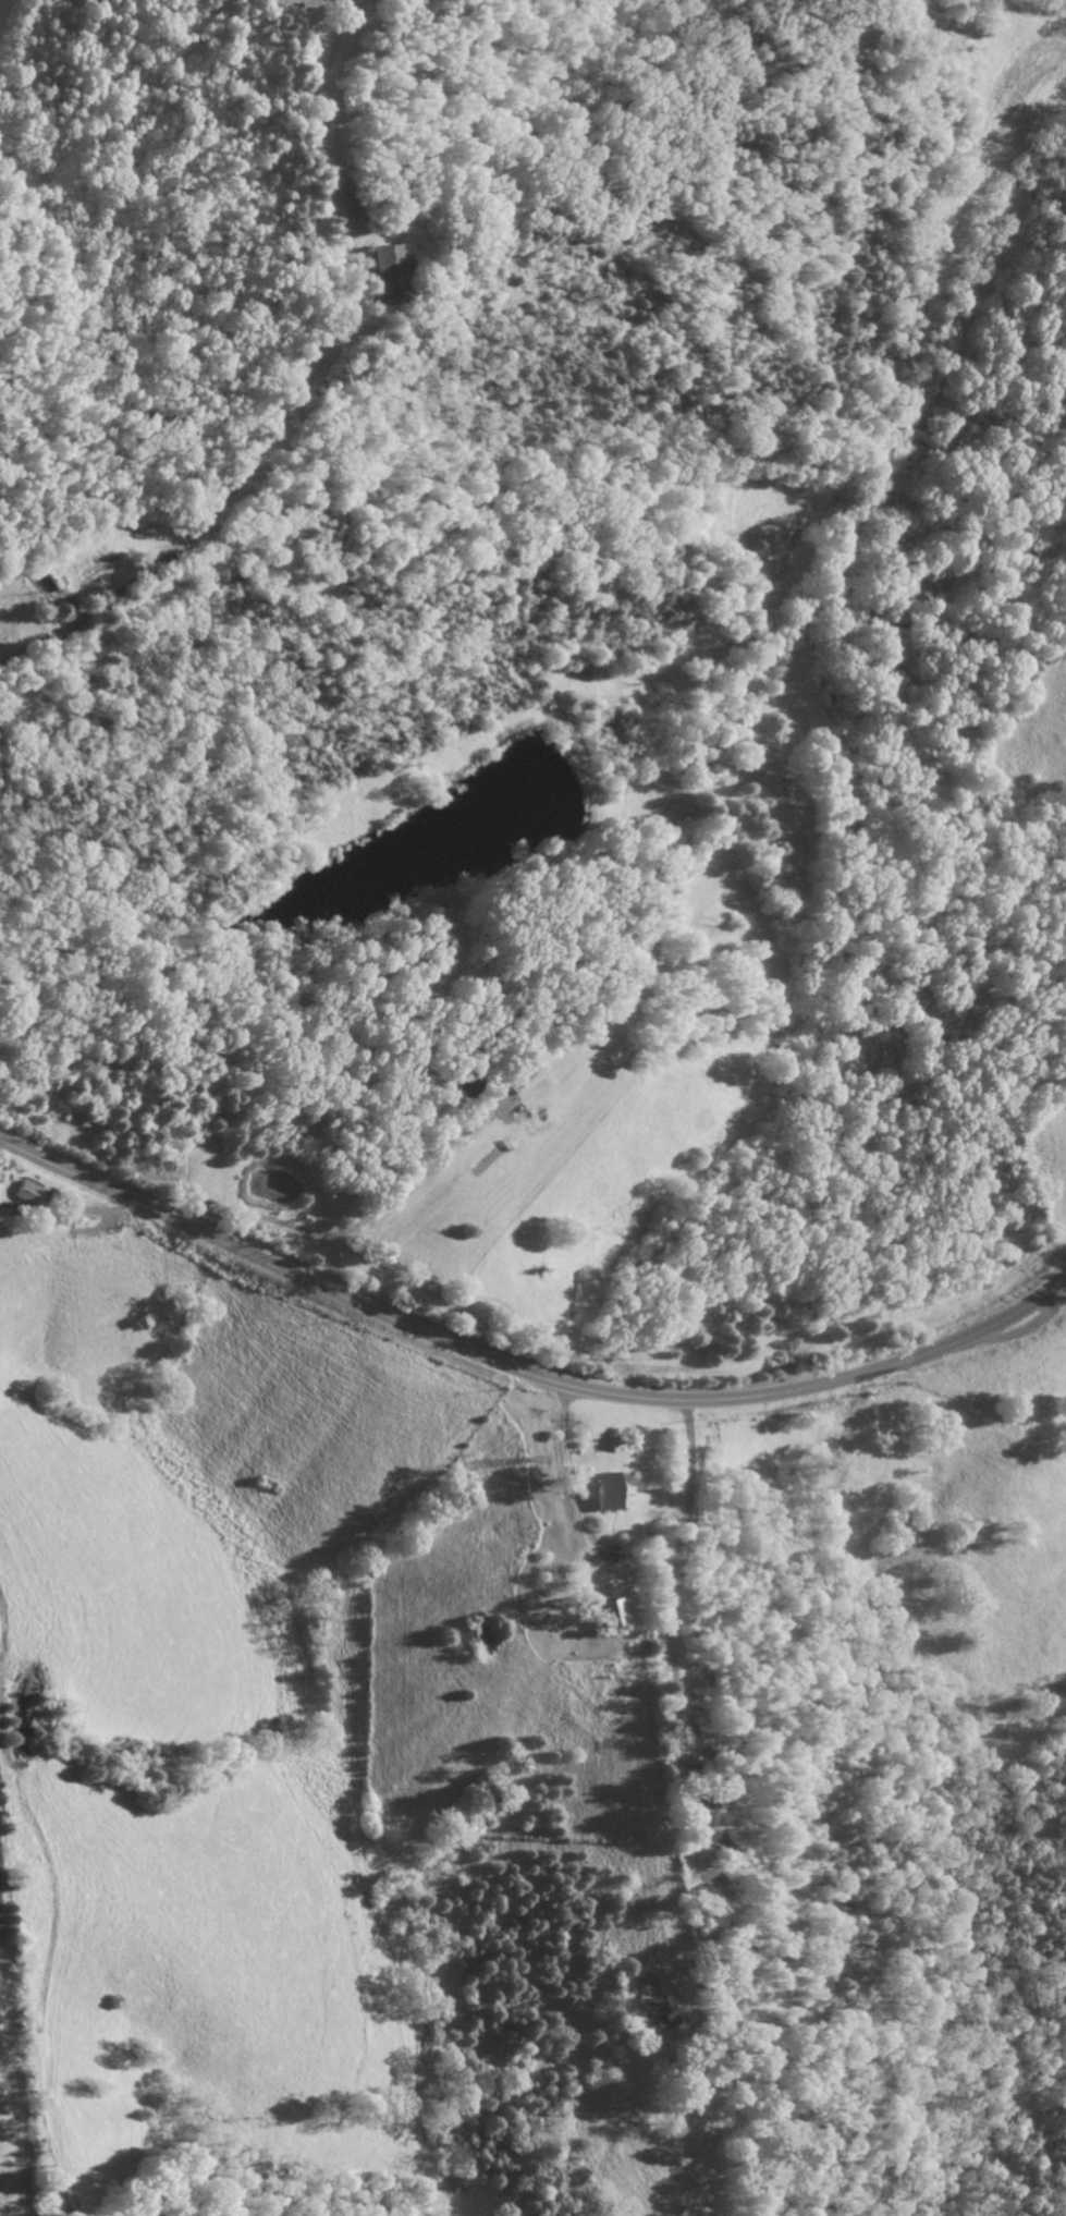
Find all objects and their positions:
building: (391, 272)
road: (293, 389)
building: (28, 1192)
road: (68, 1219)
road: (353, 1234)
road: (223, 1242)
road: (764, 1396)
road: (479, 1474)
road: (568, 1474)
building: (609, 1490)
road: (664, 1580)
building: (615, 1614)

